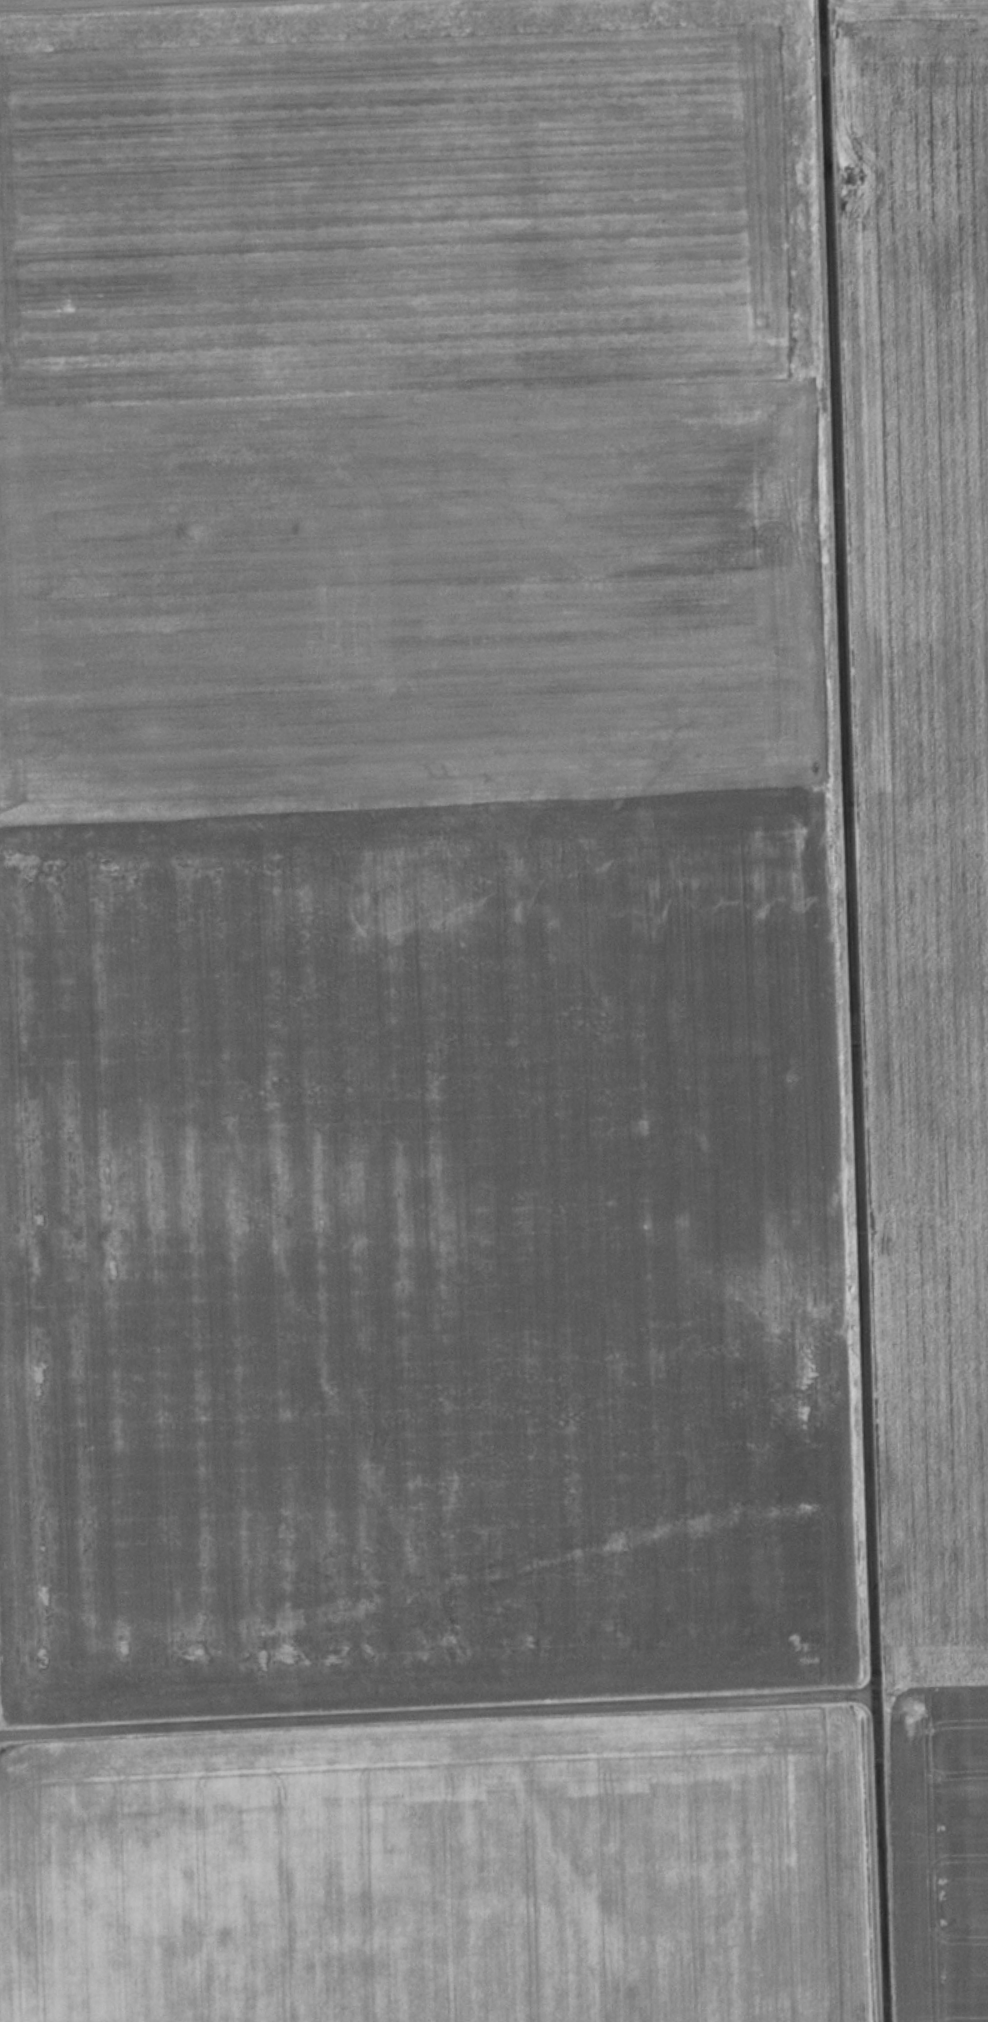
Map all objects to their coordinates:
road: (3, 0)
crop: (406, 405)
crop: (931, 761)
road: (856, 1010)
crop: (420, 1258)
road: (439, 1709)
crop: (944, 1848)
crop: (421, 1882)

